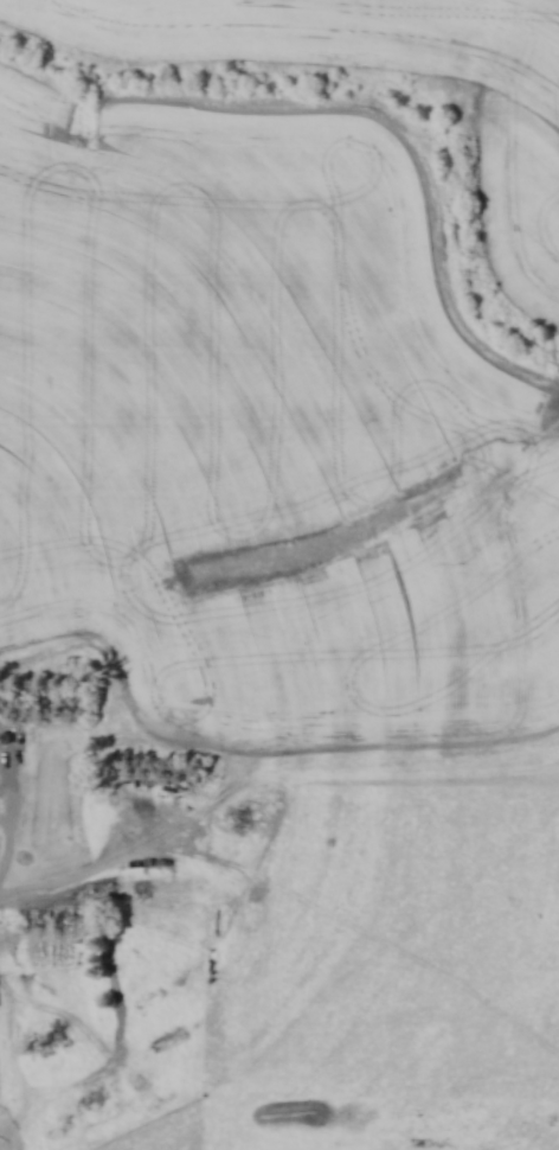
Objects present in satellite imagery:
building: (51, 916)

